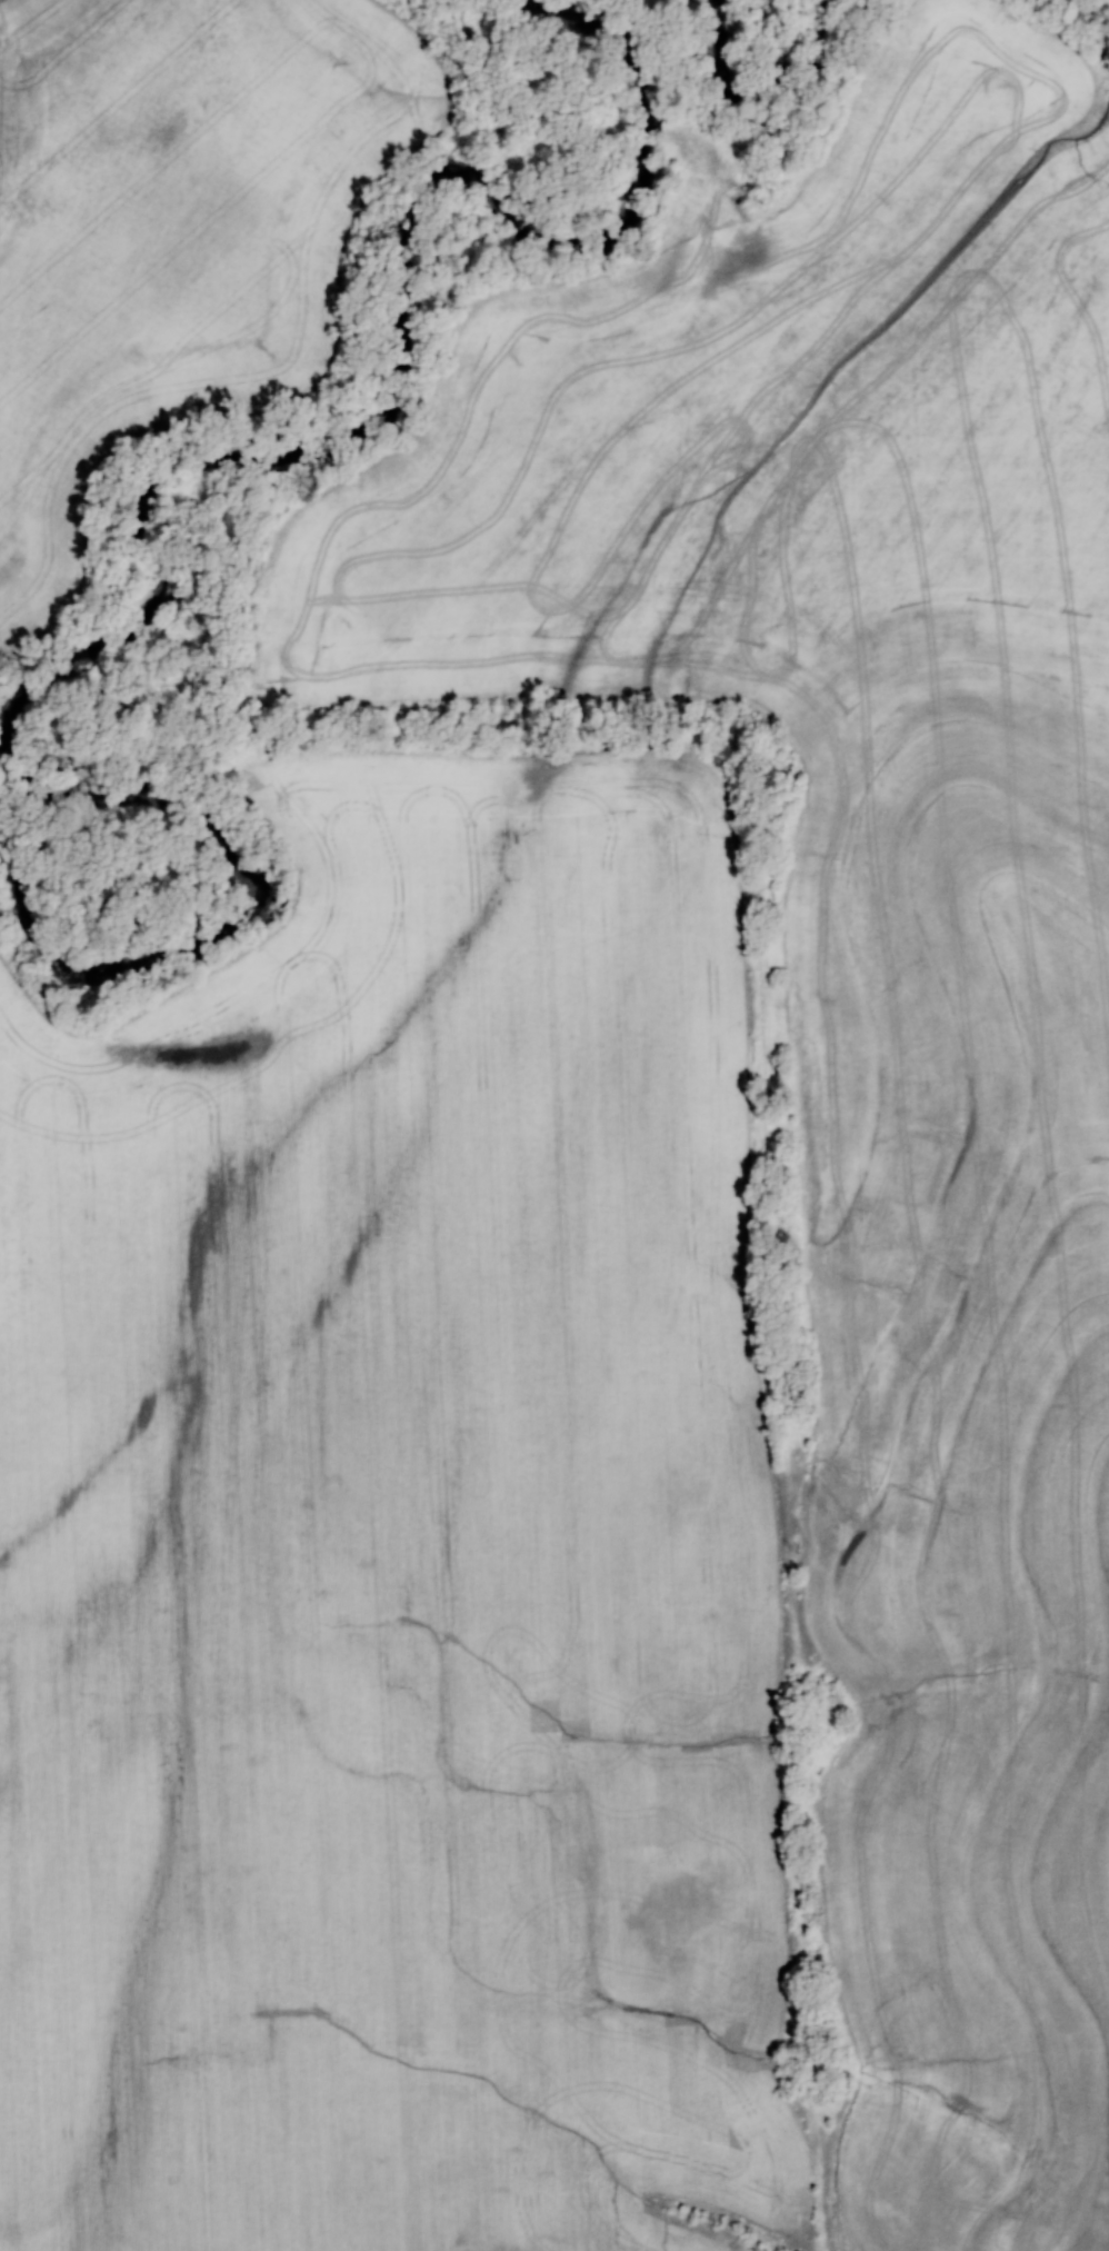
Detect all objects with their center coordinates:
river: (778, 93)
river: (157, 509)

